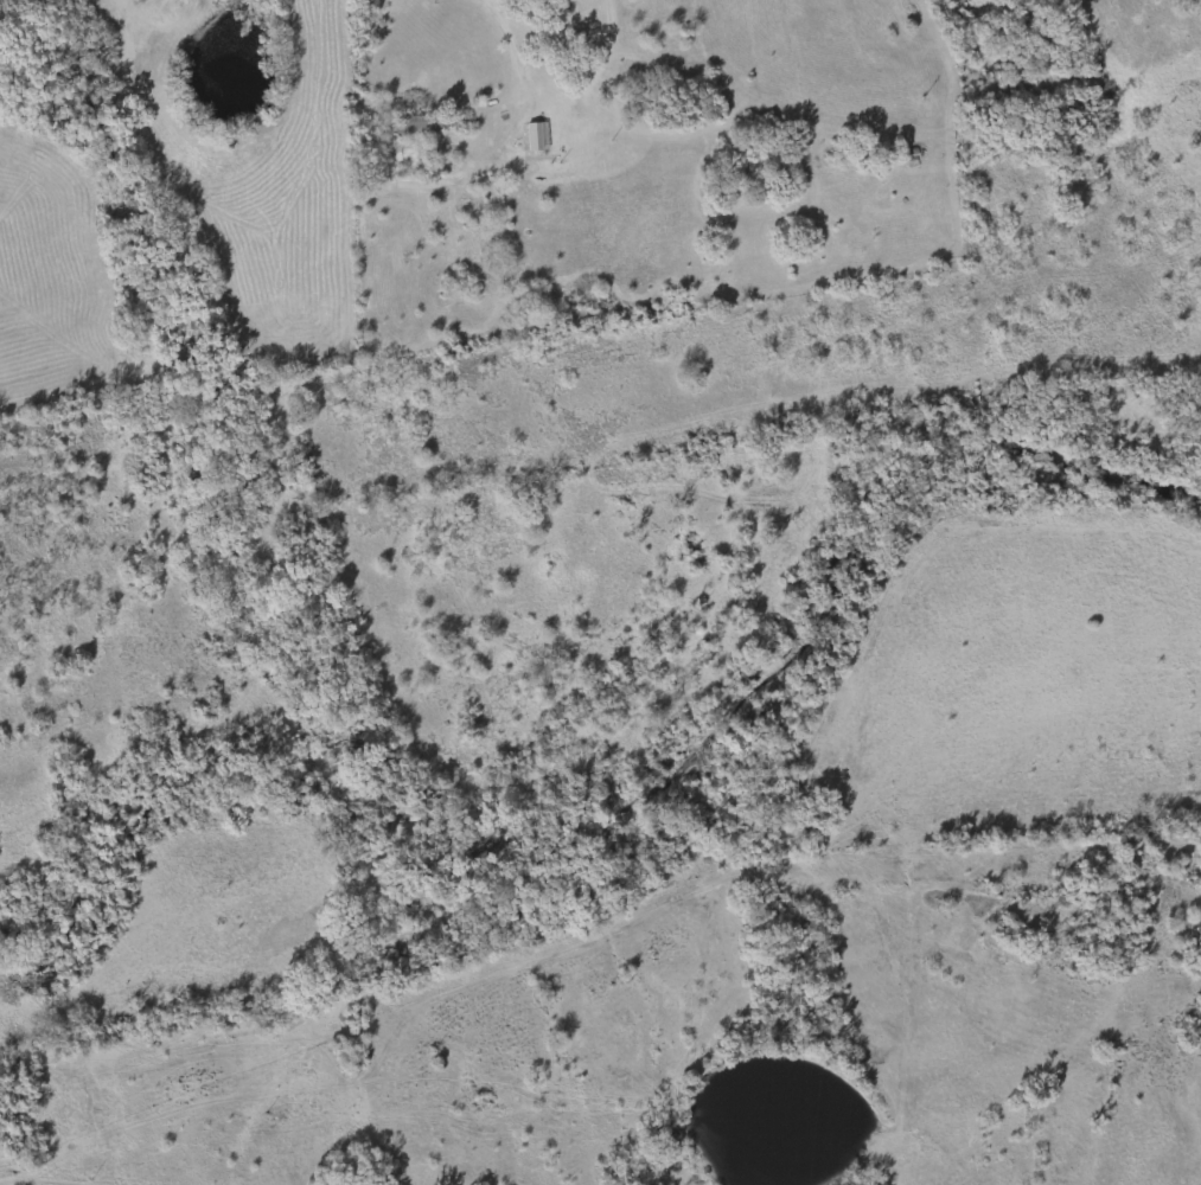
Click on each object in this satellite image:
building: (414, 123)
building: (532, 135)

